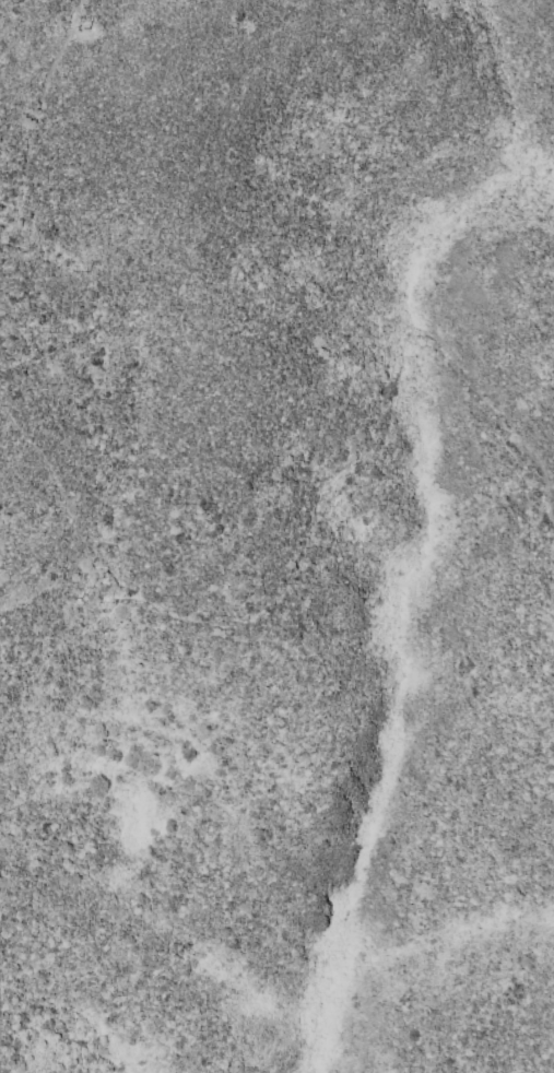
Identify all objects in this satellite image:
road: (32, 110)
road: (309, 526)
park: (246, 768)

